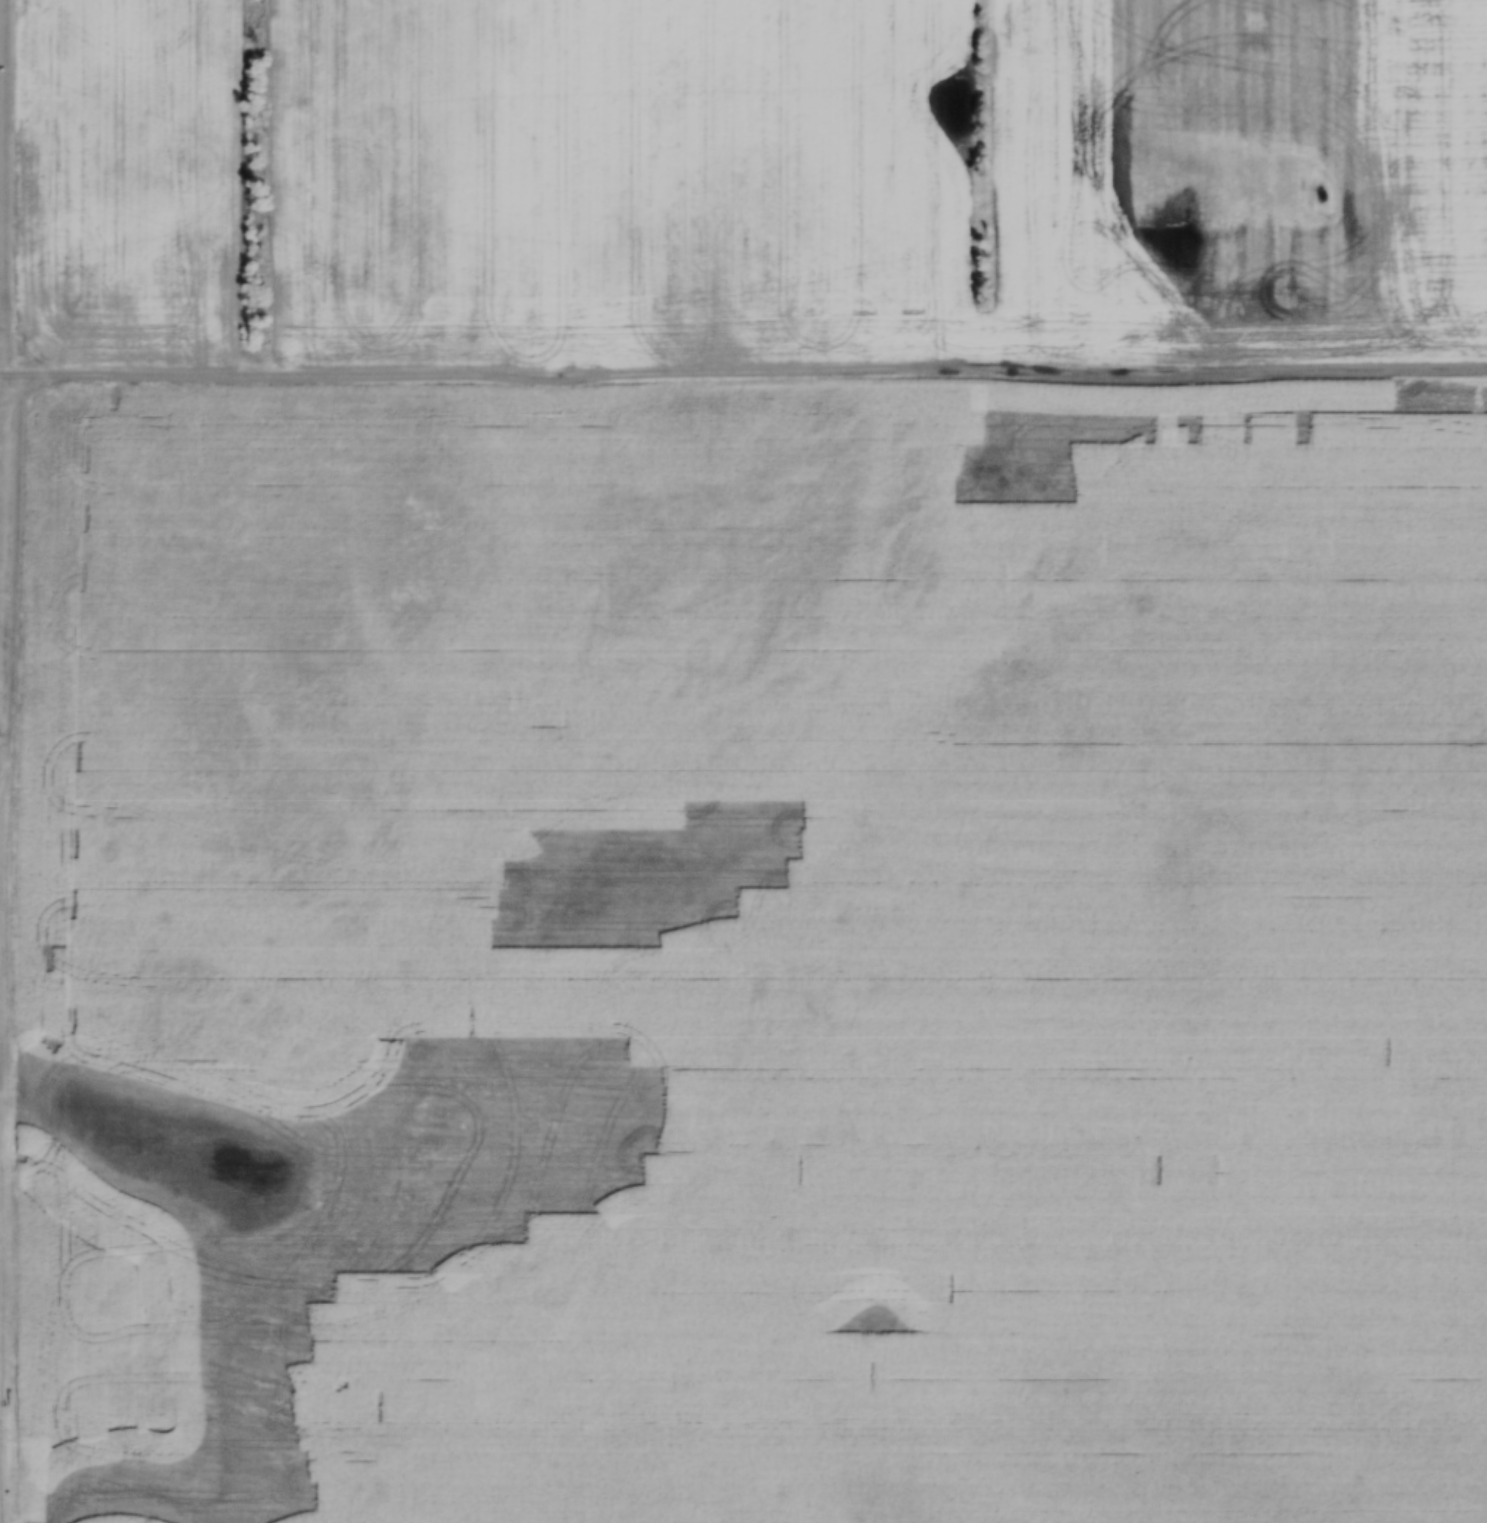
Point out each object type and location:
road: (743, 386)

